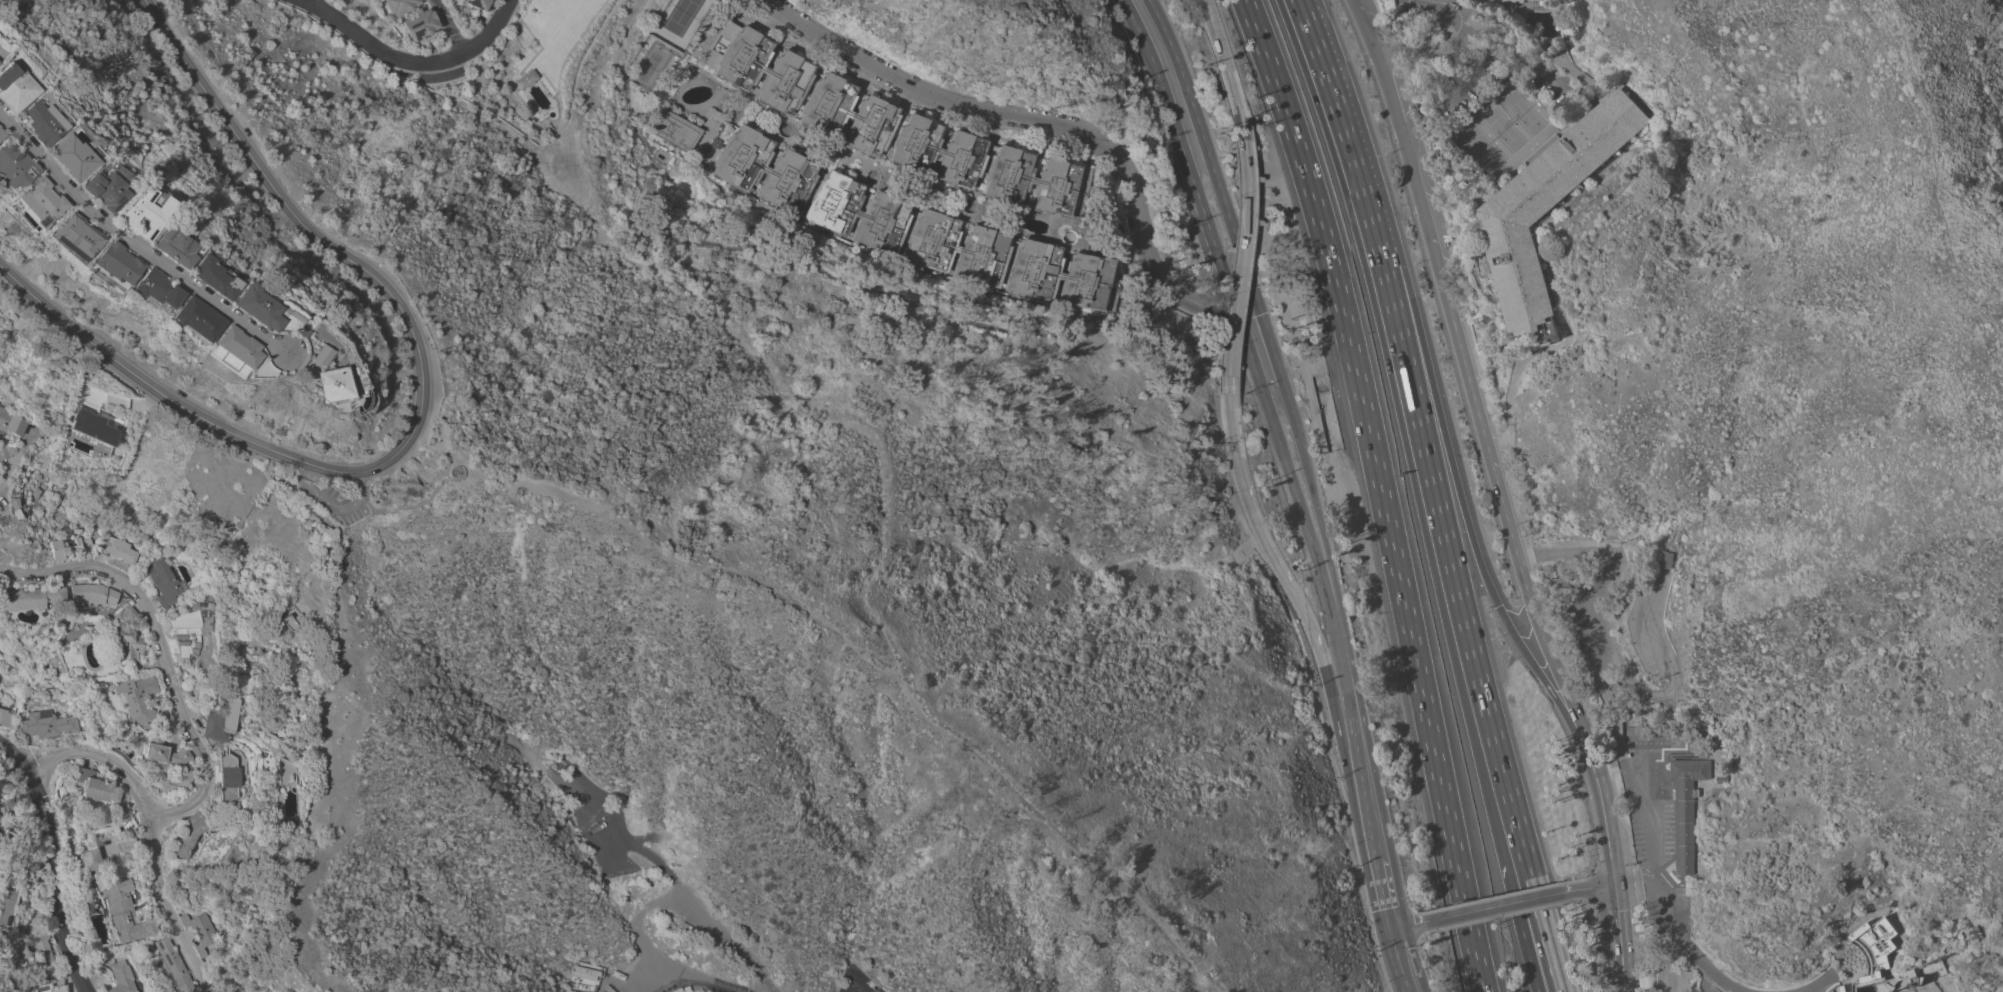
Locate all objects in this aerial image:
road: (304, 0)
building: (1509, 0)
building: (478, 3)
building: (400, 6)
road: (1301, 13)
park: (681, 16)
road: (1463, 17)
building: (420, 24)
road: (765, 26)
road: (448, 27)
road: (1367, 42)
road: (505, 43)
road: (542, 47)
road: (1510, 55)
road: (1405, 58)
road: (412, 63)
park: (649, 67)
road: (1223, 68)
road: (1469, 72)
building: (526, 79)
building: (12, 87)
road: (1390, 104)
building: (36, 121)
road: (1039, 121)
building: (893, 128)
road: (1186, 129)
park: (1502, 129)
building: (677, 130)
road: (1038, 136)
road: (1345, 138)
building: (67, 157)
road: (1936, 159)
building: (12, 167)
road: (1411, 180)
building: (96, 188)
building: (36, 203)
building: (1548, 206)
building: (138, 212)
building: (904, 224)
building: (71, 236)
building: (166, 247)
road: (127, 250)
building: (110, 263)
traffic signals: (1228, 264)
road: (1236, 266)
building: (1486, 267)
building: (206, 277)
building: (150, 289)
building: (249, 307)
building: (190, 319)
road: (1249, 327)
building: (293, 332)
building: (227, 352)
building: (310, 355)
road: (1521, 359)
building: (325, 385)
road: (787, 405)
road: (418, 410)
road: (1279, 413)
building: (10, 423)
road: (1441, 424)
building: (90, 426)
building: (50, 431)
road: (1500, 437)
building: (4, 451)
road: (7, 468)
road: (1299, 478)
road: (1380, 491)
building: (35, 492)
parking lot: (336, 504)
road: (331, 508)
road: (373, 509)
building: (12, 512)
road: (1507, 526)
road: (1260, 532)
building: (68, 548)
building: (118, 549)
road: (1076, 557)
road: (1305, 559)
building: (1668, 559)
building: (165, 582)
road: (1437, 592)
building: (94, 593)
building: (30, 598)
traffic signals: (1497, 607)
building: (285, 622)
road: (1464, 622)
building: (191, 628)
building: (126, 634)
road: (162, 650)
road: (871, 662)
road: (1671, 672)
road: (1348, 688)
building: (139, 701)
building: (1633, 715)
building: (6, 718)
building: (46, 724)
building: (218, 727)
road: (1615, 740)
building: (166, 754)
road: (1348, 762)
building: (286, 771)
building: (1721, 776)
building: (230, 778)
building: (102, 792)
building: (559, 799)
building: (1648, 805)
building: (1686, 806)
road: (158, 828)
building: (189, 835)
road: (1611, 844)
building: (115, 853)
road: (54, 862)
building: (88, 862)
road: (1638, 876)
traffic signals: (1617, 880)
road: (1590, 886)
road: (1385, 893)
building: (95, 903)
road: (652, 903)
road: (1494, 906)
building: (125, 913)
road: (1408, 924)
traffic signals: (1392, 928)
road: (1888, 929)
building: (199, 931)
road: (1623, 935)
building: (1874, 941)
building: (45, 955)
road: (1866, 956)
road: (1401, 960)
road: (1529, 960)
road: (1669, 961)
building: (172, 965)
building: (1941, 970)
building: (588, 975)
building: (1905, 975)
building: (123, 977)
building: (1859, 978)
road: (1849, 981)
building: (1915, 981)
road: (1817, 983)
road: (1827, 983)
road: (1910, 990)

